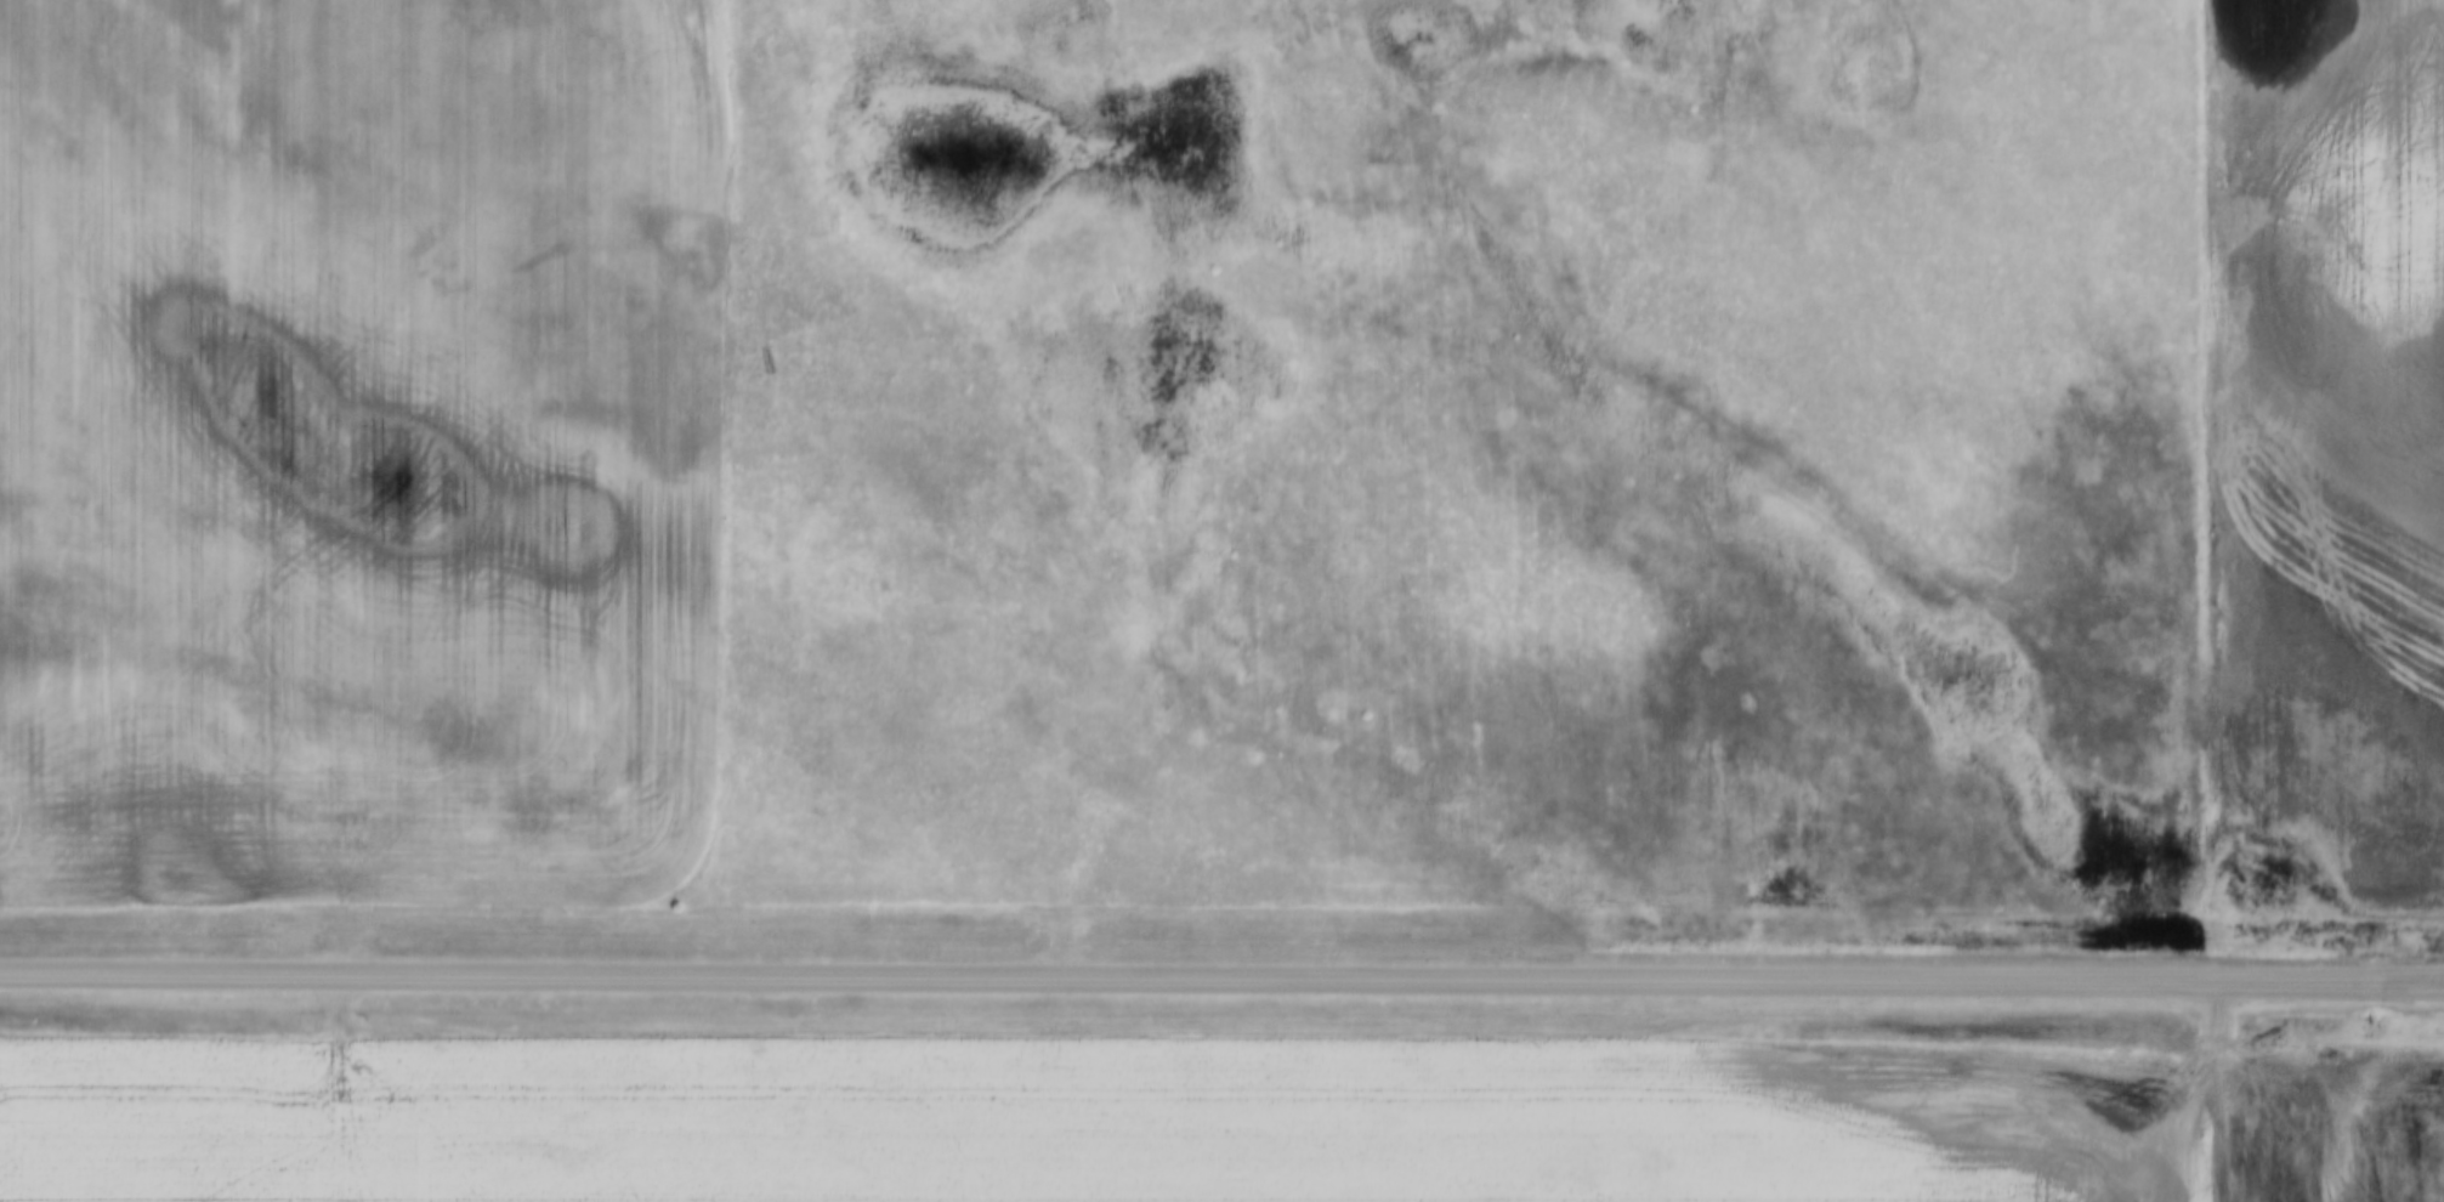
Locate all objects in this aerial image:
road: (1221, 979)

